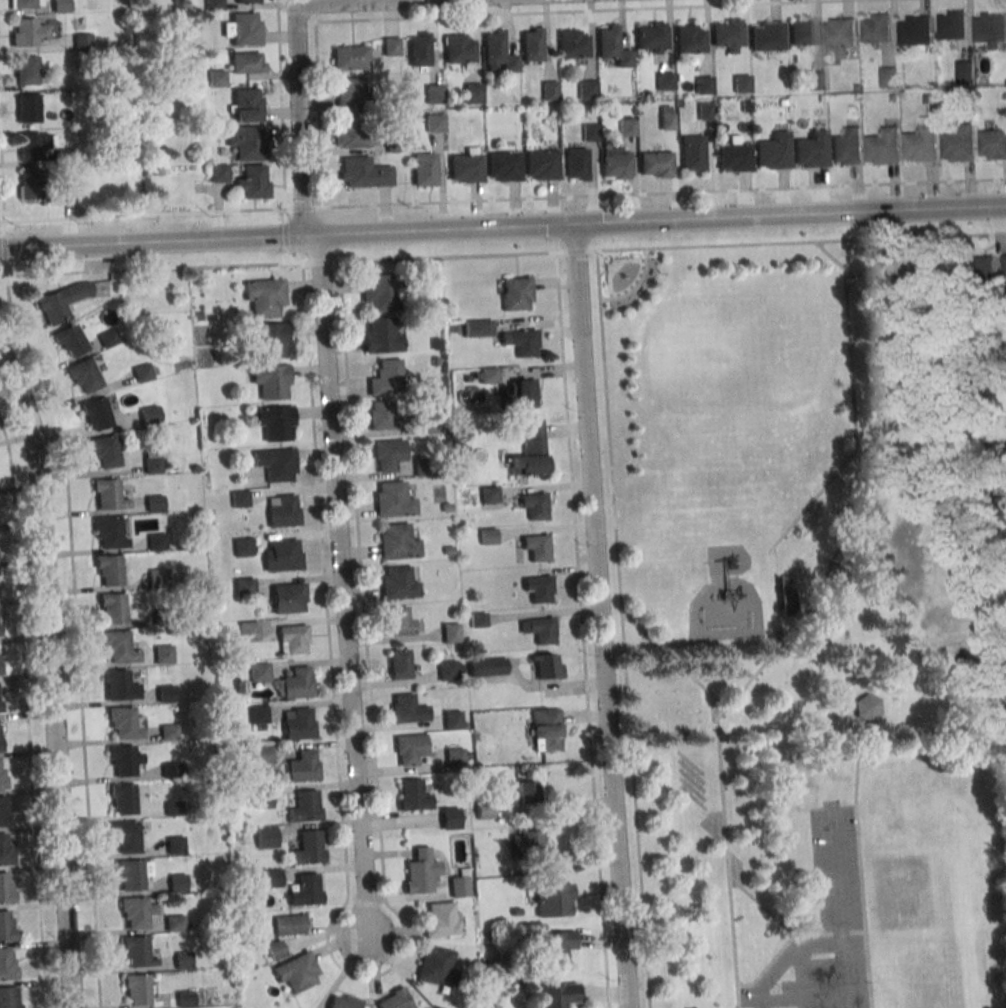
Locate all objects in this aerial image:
building: (246, 1)
road: (295, 3)
building: (23, 4)
road: (388, 4)
building: (212, 5)
building: (61, 6)
road: (591, 11)
building: (955, 25)
building: (241, 28)
building: (878, 28)
building: (992, 29)
building: (26, 31)
building: (802, 32)
building: (918, 33)
building: (726, 36)
building: (841, 36)
building: (765, 37)
building: (651, 38)
building: (686, 39)
building: (82, 41)
building: (570, 44)
building: (390, 45)
building: (530, 45)
building: (611, 45)
building: (418, 50)
building: (458, 51)
building: (498, 53)
building: (349, 58)
building: (247, 63)
building: (27, 70)
building: (967, 70)
building: (891, 76)
building: (216, 77)
building: (663, 80)
building: (817, 80)
building: (739, 83)
building: (933, 84)
building: (702, 85)
building: (586, 89)
building: (549, 90)
building: (351, 92)
building: (471, 92)
building: (433, 93)
building: (821, 98)
building: (896, 98)
building: (929, 99)
road: (317, 103)
building: (780, 103)
building: (245, 104)
building: (397, 104)
road: (280, 105)
building: (745, 107)
building: (28, 108)
building: (703, 110)
building: (666, 117)
road: (299, 122)
building: (433, 122)
building: (626, 127)
building: (350, 131)
building: (589, 131)
building: (924, 140)
building: (246, 141)
building: (961, 144)
building: (994, 144)
building: (35, 145)
building: (848, 146)
building: (885, 146)
building: (810, 148)
building: (772, 150)
building: (691, 153)
building: (733, 155)
building: (65, 156)
building: (575, 163)
building: (614, 163)
building: (654, 163)
building: (464, 165)
building: (541, 165)
building: (503, 166)
building: (423, 169)
building: (219, 172)
building: (362, 172)
building: (253, 181)
road: (1, 184)
building: (45, 187)
road: (502, 200)
road: (656, 224)
road: (328, 234)
road: (292, 236)
road: (718, 245)
road: (4, 246)
road: (154, 246)
road: (502, 253)
road: (834, 259)
road: (867, 263)
building: (1005, 265)
building: (984, 268)
road: (5, 269)
road: (635, 286)
building: (379, 291)
building: (515, 293)
building: (265, 297)
building: (61, 301)
building: (430, 303)
building: (196, 316)
building: (476, 328)
building: (380, 336)
building: (72, 337)
building: (108, 338)
building: (268, 339)
building: (520, 341)
building: (435, 343)
building: (435, 361)
building: (142, 372)
building: (82, 374)
building: (487, 375)
building: (385, 376)
building: (271, 380)
building: (519, 394)
building: (96, 413)
building: (149, 414)
building: (383, 414)
building: (275, 422)
building: (433, 425)
building: (530, 449)
building: (105, 450)
building: (387, 454)
road: (610, 455)
building: (151, 463)
building: (276, 463)
building: (423, 467)
building: (108, 494)
building: (489, 494)
building: (240, 498)
building: (393, 500)
building: (154, 503)
building: (534, 505)
building: (447, 507)
building: (282, 510)
building: (109, 532)
building: (488, 535)
building: (157, 541)
building: (397, 541)
building: (243, 546)
building: (536, 548)
building: (448, 550)
building: (283, 555)
building: (108, 570)
building: (158, 577)
building: (397, 582)
building: (244, 587)
road: (341, 587)
building: (539, 587)
building: (786, 596)
building: (288, 597)
building: (112, 608)
building: (162, 618)
road: (601, 618)
building: (478, 619)
building: (399, 620)
park: (807, 624)
building: (539, 629)
building: (249, 630)
road: (581, 630)
building: (450, 632)
road: (777, 634)
road: (76, 637)
building: (292, 639)
building: (118, 646)
building: (163, 653)
building: (0, 659)
road: (673, 660)
building: (399, 663)
building: (487, 666)
building: (544, 666)
building: (449, 669)
building: (259, 671)
road: (51, 678)
building: (295, 683)
building: (120, 685)
building: (166, 692)
building: (0, 697)
building: (868, 707)
building: (407, 708)
road: (27, 709)
road: (717, 709)
building: (258, 714)
building: (452, 719)
building: (124, 722)
building: (298, 723)
building: (546, 730)
building: (168, 731)
building: (0, 735)
building: (408, 748)
building: (260, 755)
building: (455, 757)
building: (125, 759)
building: (303, 765)
building: (170, 769)
building: (2, 773)
building: (524, 793)
building: (412, 795)
building: (124, 798)
building: (262, 799)
building: (304, 805)
building: (174, 807)
building: (4, 810)
road: (635, 810)
building: (485, 811)
building: (450, 818)
building: (126, 836)
building: (265, 836)
building: (527, 843)
building: (176, 844)
building: (308, 847)
building: (6, 849)
road: (860, 863)
building: (420, 871)
road: (836, 872)
building: (133, 873)
building: (273, 877)
building: (178, 884)
building: (459, 886)
building: (6, 888)
building: (302, 891)
park: (902, 893)
building: (554, 900)
road: (762, 905)
building: (135, 911)
building: (516, 911)
building: (440, 919)
building: (175, 923)
building: (289, 924)
building: (7, 925)
parking lot: (824, 929)
road: (829, 932)
building: (488, 940)
road: (822, 945)
building: (556, 949)
building: (275, 950)
building: (137, 952)
building: (183, 960)
building: (6, 964)
road: (768, 964)
building: (436, 968)
road: (853, 971)
building: (297, 972)
road: (773, 972)
road: (366, 976)
road: (805, 977)
building: (136, 989)
building: (558, 995)
building: (10, 997)
building: (184, 999)
building: (394, 999)
building: (343, 1001)

